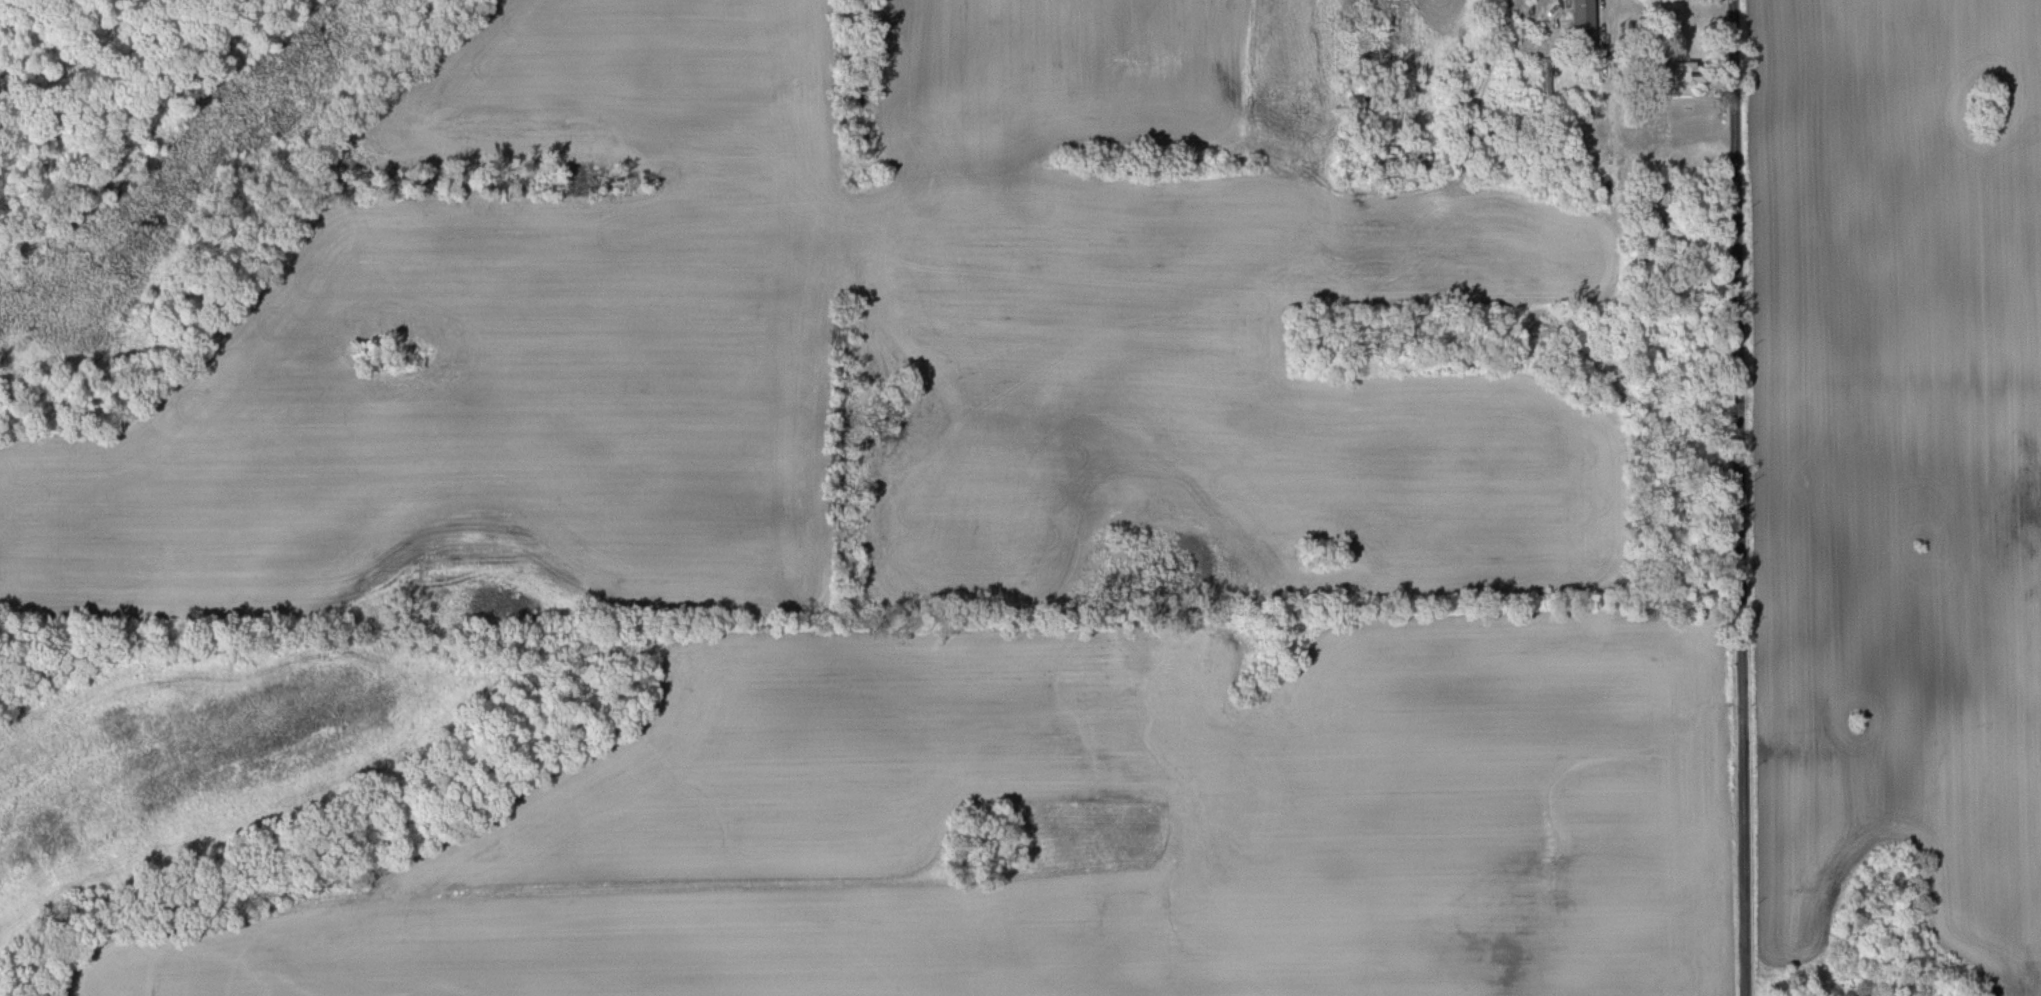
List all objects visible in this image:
building: (1578, 29)
building: (1681, 73)
building: (1545, 78)
road: (1743, 497)

